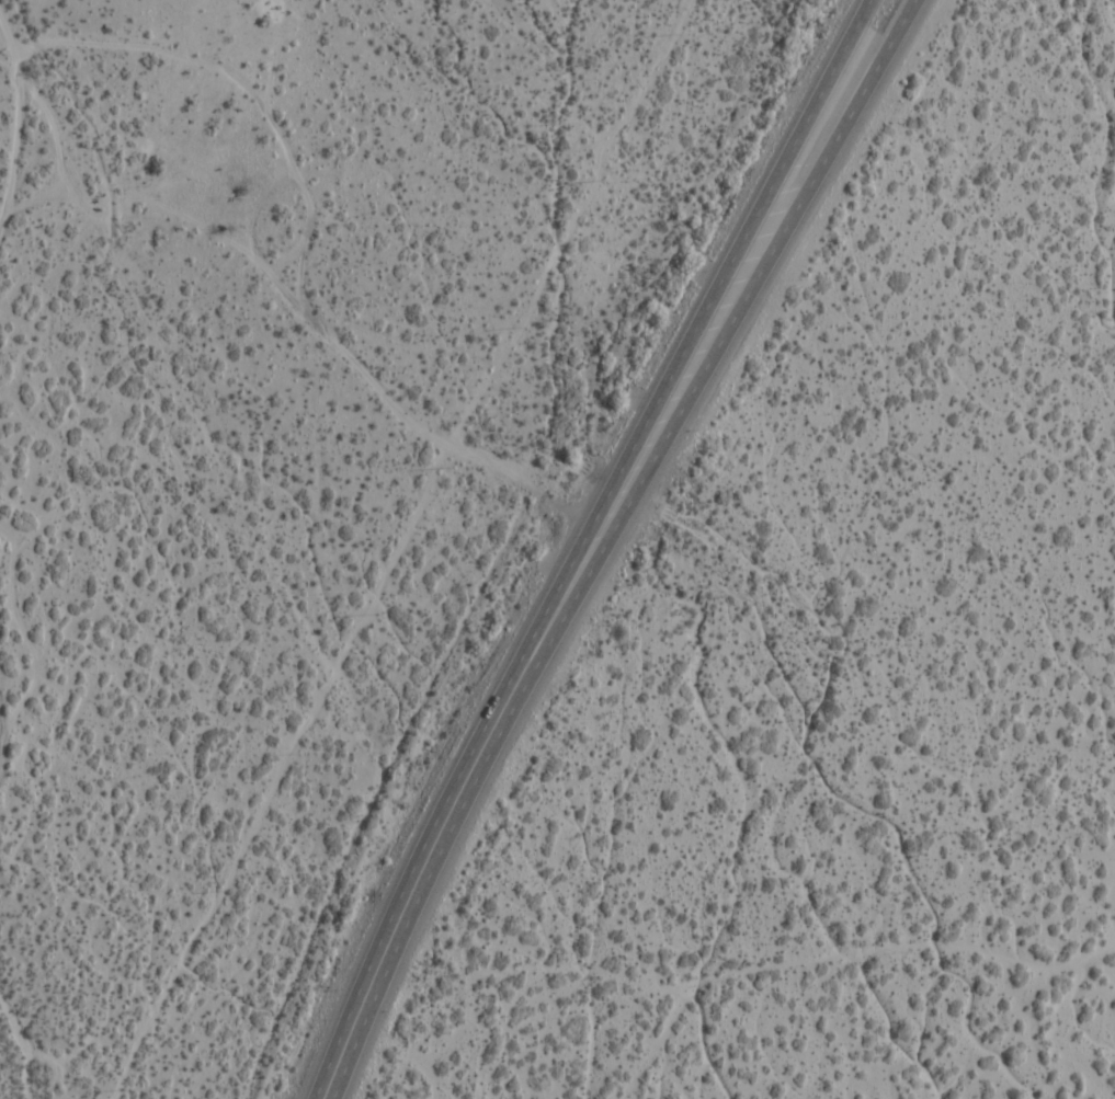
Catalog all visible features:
road: (698, 317)
road: (729, 321)
road: (401, 549)
building: (1113, 682)
road: (422, 865)
building: (252, 866)
road: (727, 993)

